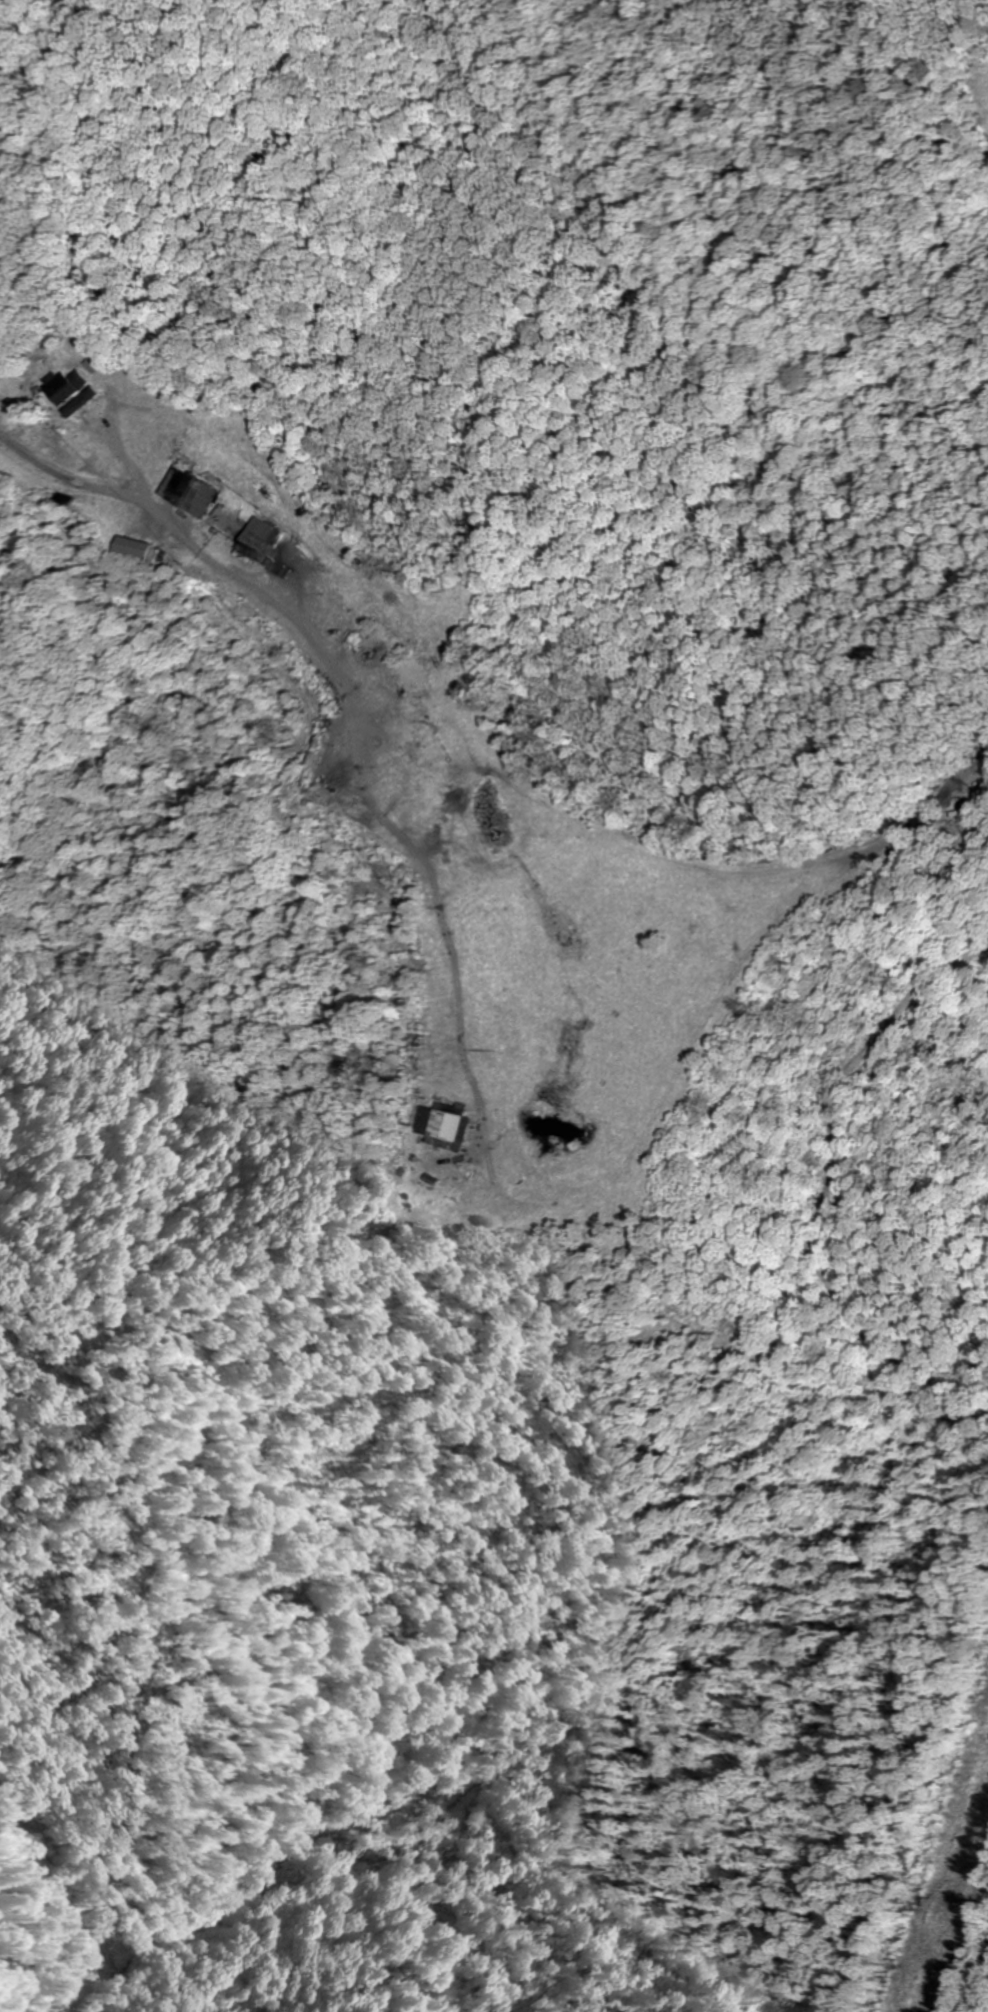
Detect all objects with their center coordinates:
building: (75, 387)
building: (191, 491)
building: (265, 540)
building: (452, 1126)
building: (987, 1784)
building: (983, 1804)

